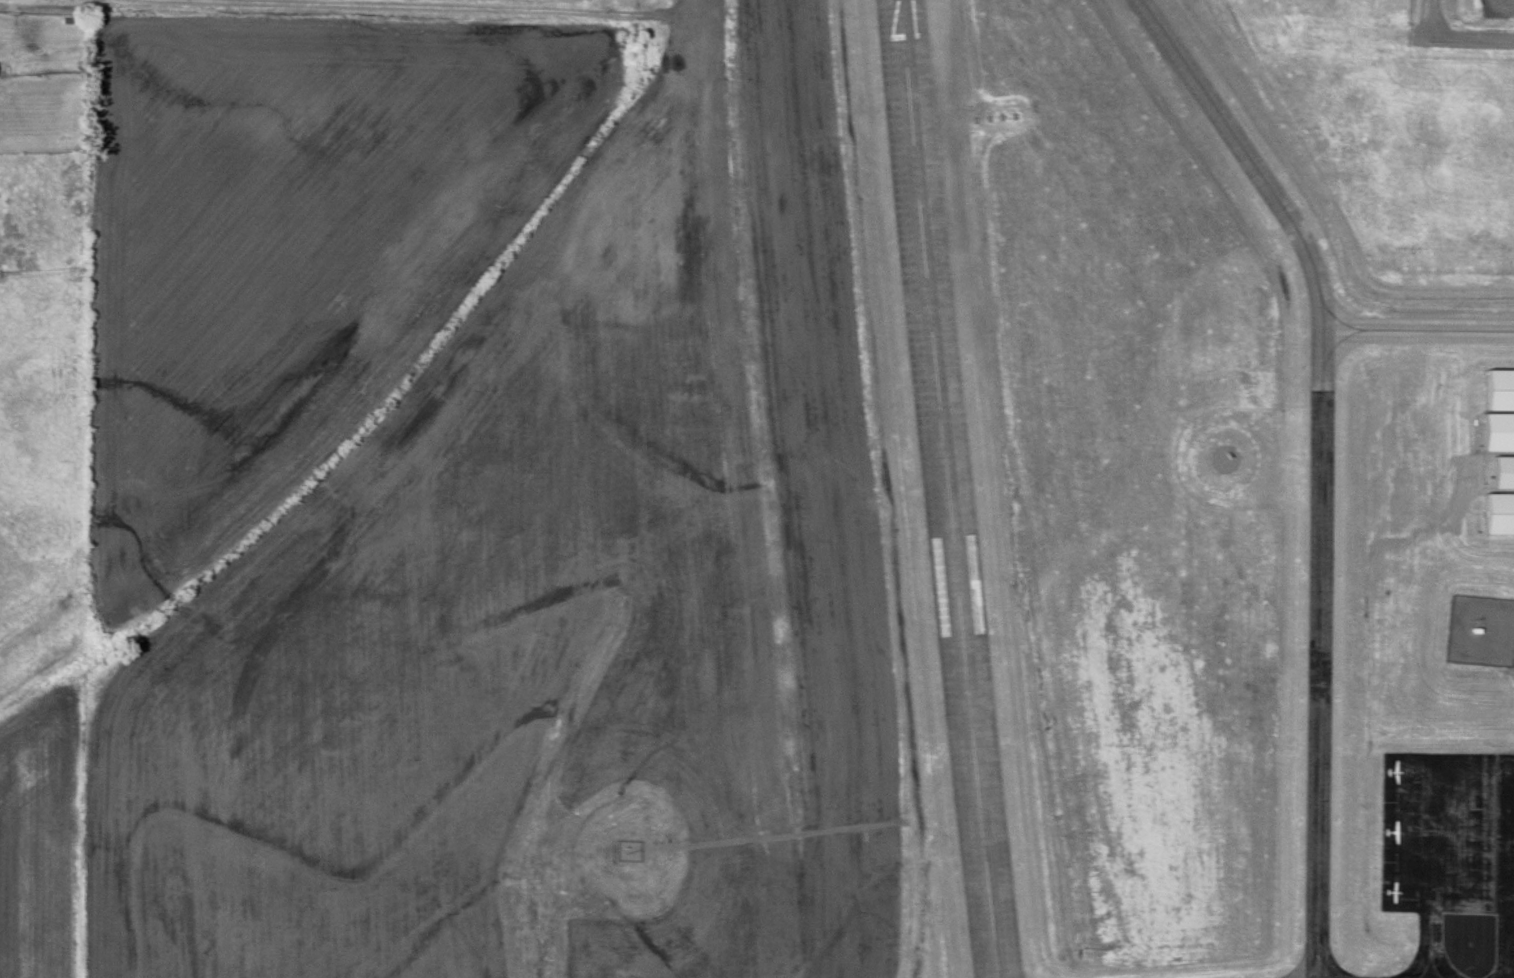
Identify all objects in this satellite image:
road: (452, 6)
crop: (1494, 8)
road: (1427, 19)
road: (1470, 40)
crop: (1456, 329)
airport taxiway: (1324, 463)
airport runway: (950, 489)
airport: (871, 531)
crop: (559, 604)
crop: (41, 838)
airport apron: (1454, 844)
airport taxiway: (1435, 947)

